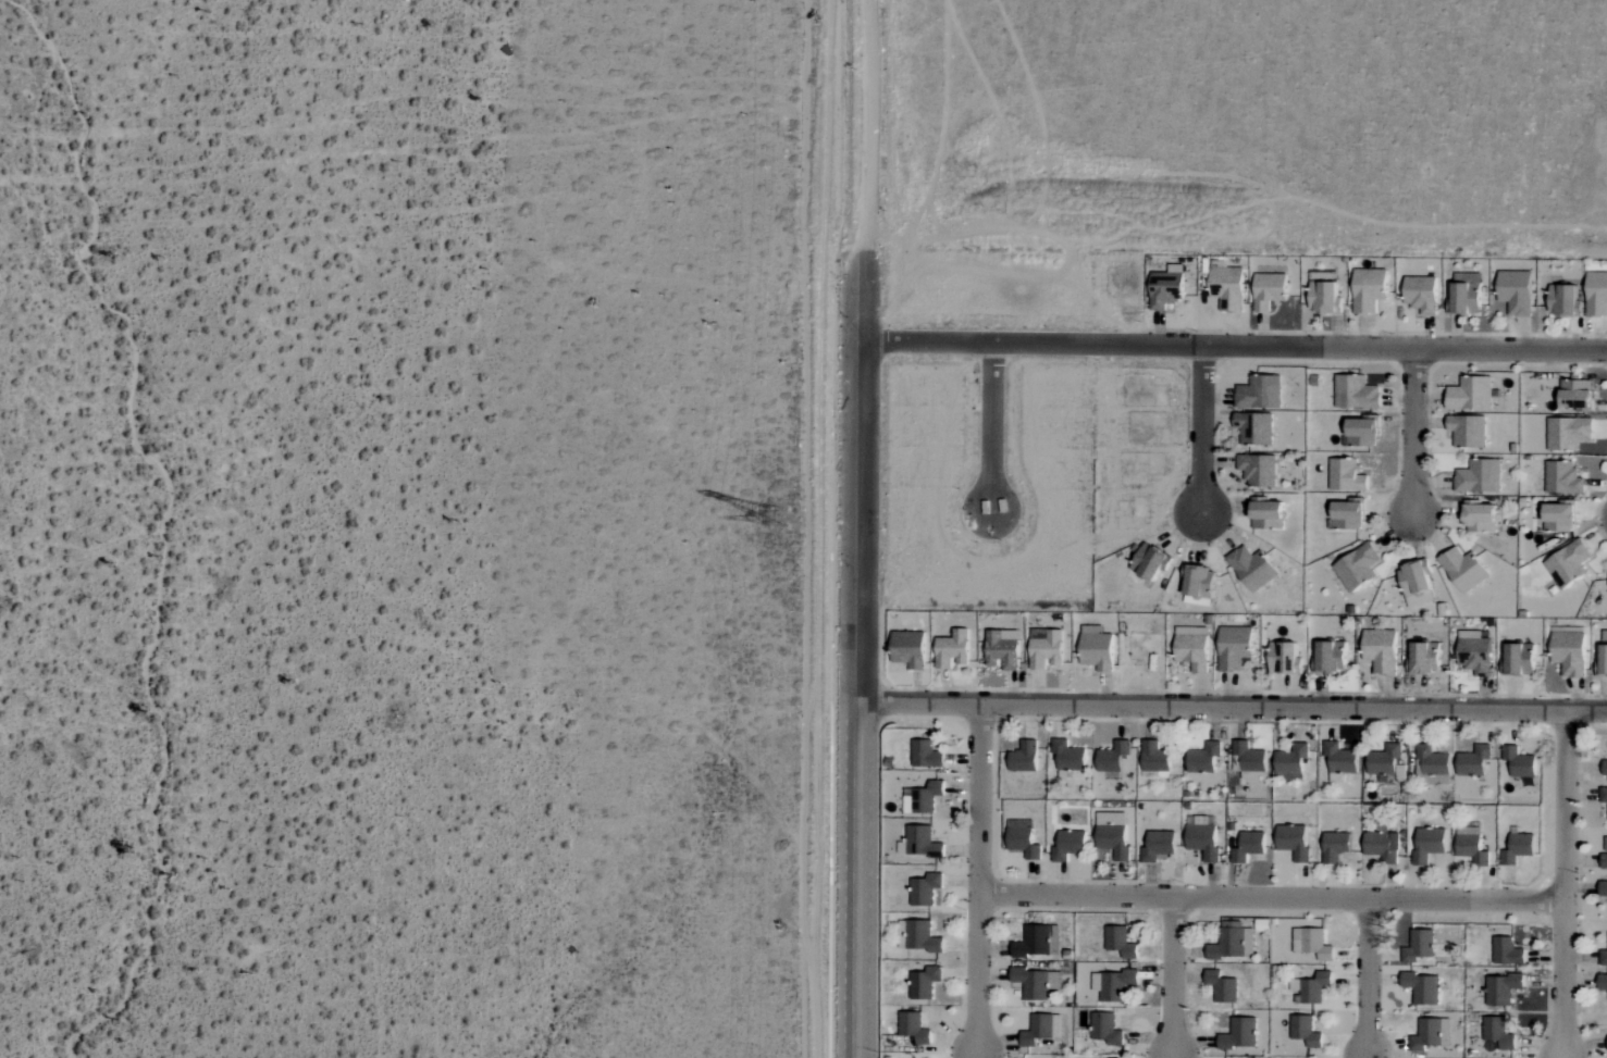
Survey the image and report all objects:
road: (864, 126)
building: (1226, 286)
building: (1163, 290)
building: (1268, 290)
building: (1368, 290)
building: (1515, 292)
building: (1323, 295)
building: (1420, 295)
building: (1596, 295)
building: (1464, 299)
building: (1562, 301)
road: (1234, 346)
building: (1259, 391)
building: (1355, 391)
building: (1469, 394)
building: (1575, 394)
road: (993, 426)
building: (1253, 427)
road: (1206, 430)
building: (1467, 430)
road: (1417, 431)
building: (1360, 432)
building: (1568, 432)
building: (1257, 469)
building: (1345, 475)
building: (1479, 476)
building: (1562, 477)
building: (1265, 514)
building: (1347, 514)
power tower: (778, 516)
building: (1479, 516)
building: (1558, 518)
building: (1149, 561)
building: (1568, 563)
building: (1356, 567)
building: (1251, 568)
building: (1462, 569)
building: (1197, 581)
building: (1416, 583)
building: (1233, 647)
building: (951, 648)
building: (907, 649)
building: (1096, 650)
building: (1380, 650)
building: (1191, 651)
building: (1473, 652)
building: (1568, 652)
road: (861, 655)
building: (1328, 656)
building: (1423, 657)
building: (1283, 658)
building: (1518, 658)
building: (1602, 659)
road: (1234, 708)
building: (1112, 756)
building: (1071, 757)
building: (1202, 758)
building: (1250, 759)
building: (1339, 759)
building: (1432, 760)
building: (1290, 761)
building: (1384, 761)
building: (1472, 761)
building: (1518, 762)
building: (1605, 768)
building: (1603, 795)
building: (1201, 836)
building: (1112, 839)
building: (1293, 841)
building: (1071, 844)
building: (1427, 844)
building: (1157, 845)
building: (1470, 845)
building: (1247, 846)
building: (1334, 846)
building: (1381, 846)
building: (1517, 848)
building: (1604, 860)
road: (981, 880)
road: (1569, 884)
building: (1603, 889)
road: (1275, 896)
building: (923, 936)
building: (1120, 941)
building: (1311, 943)
building: (1232, 944)
building: (1418, 946)
building: (1506, 950)
building: (1603, 957)
road: (1175, 974)
road: (1372, 975)
building: (1602, 982)
building: (1115, 985)
building: (1310, 987)
building: (1422, 987)
building: (1221, 988)
building: (1501, 988)
building: (920, 992)
building: (1104, 1029)
building: (1305, 1031)
building: (1497, 1032)
building: (1238, 1034)
building: (1429, 1034)

